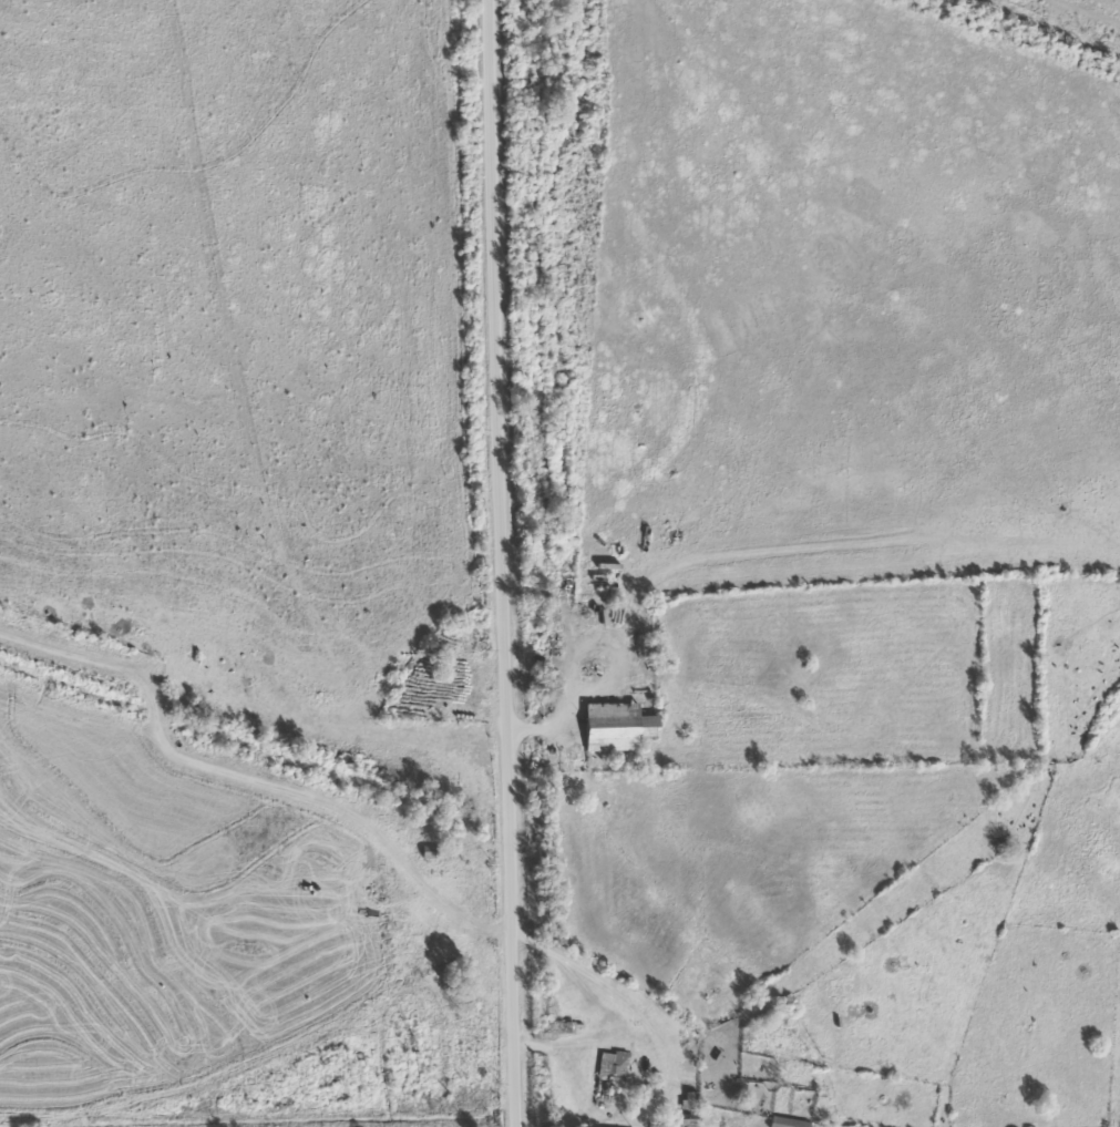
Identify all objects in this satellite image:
road: (506, 563)
building: (616, 728)
road: (259, 1046)

